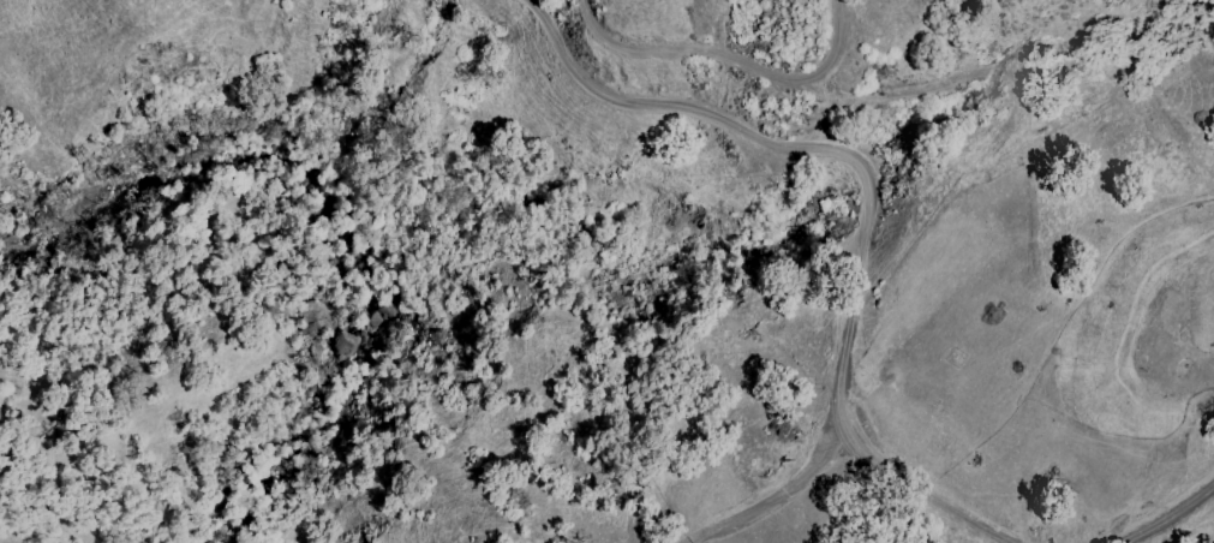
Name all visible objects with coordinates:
road: (736, 61)
river: (163, 166)
road: (866, 198)
river: (311, 405)
road: (787, 489)
road: (1179, 520)

